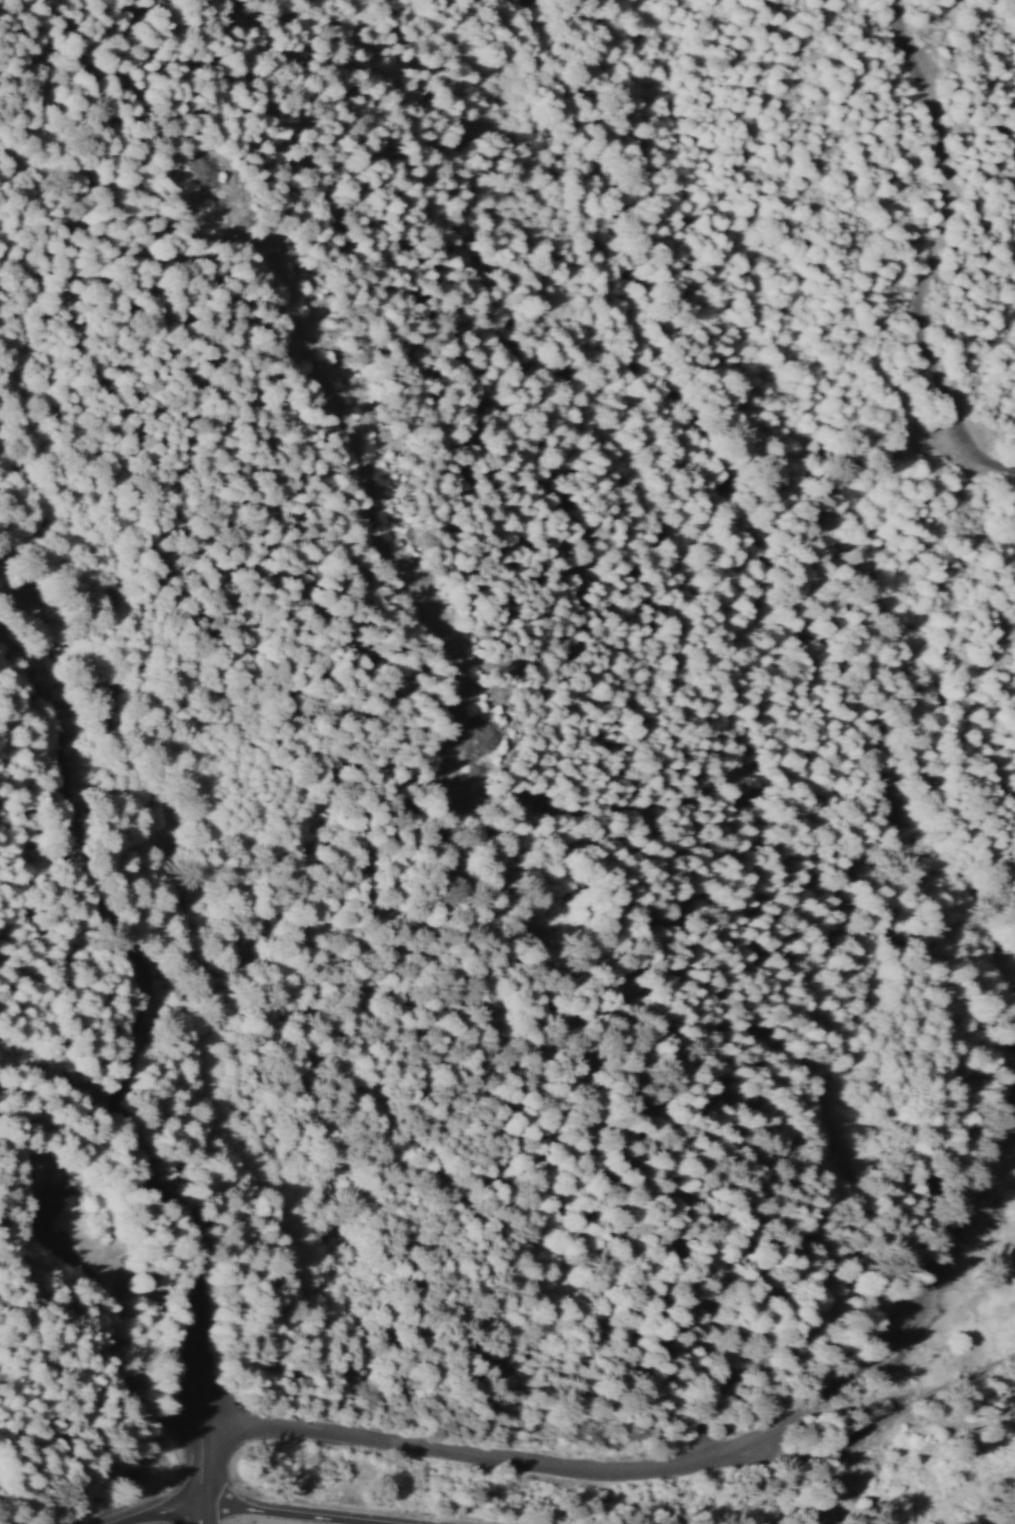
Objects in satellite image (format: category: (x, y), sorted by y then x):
road: (122, 1060)
road: (946, 1260)
road: (536, 1462)
road: (222, 1510)
road: (191, 1515)

